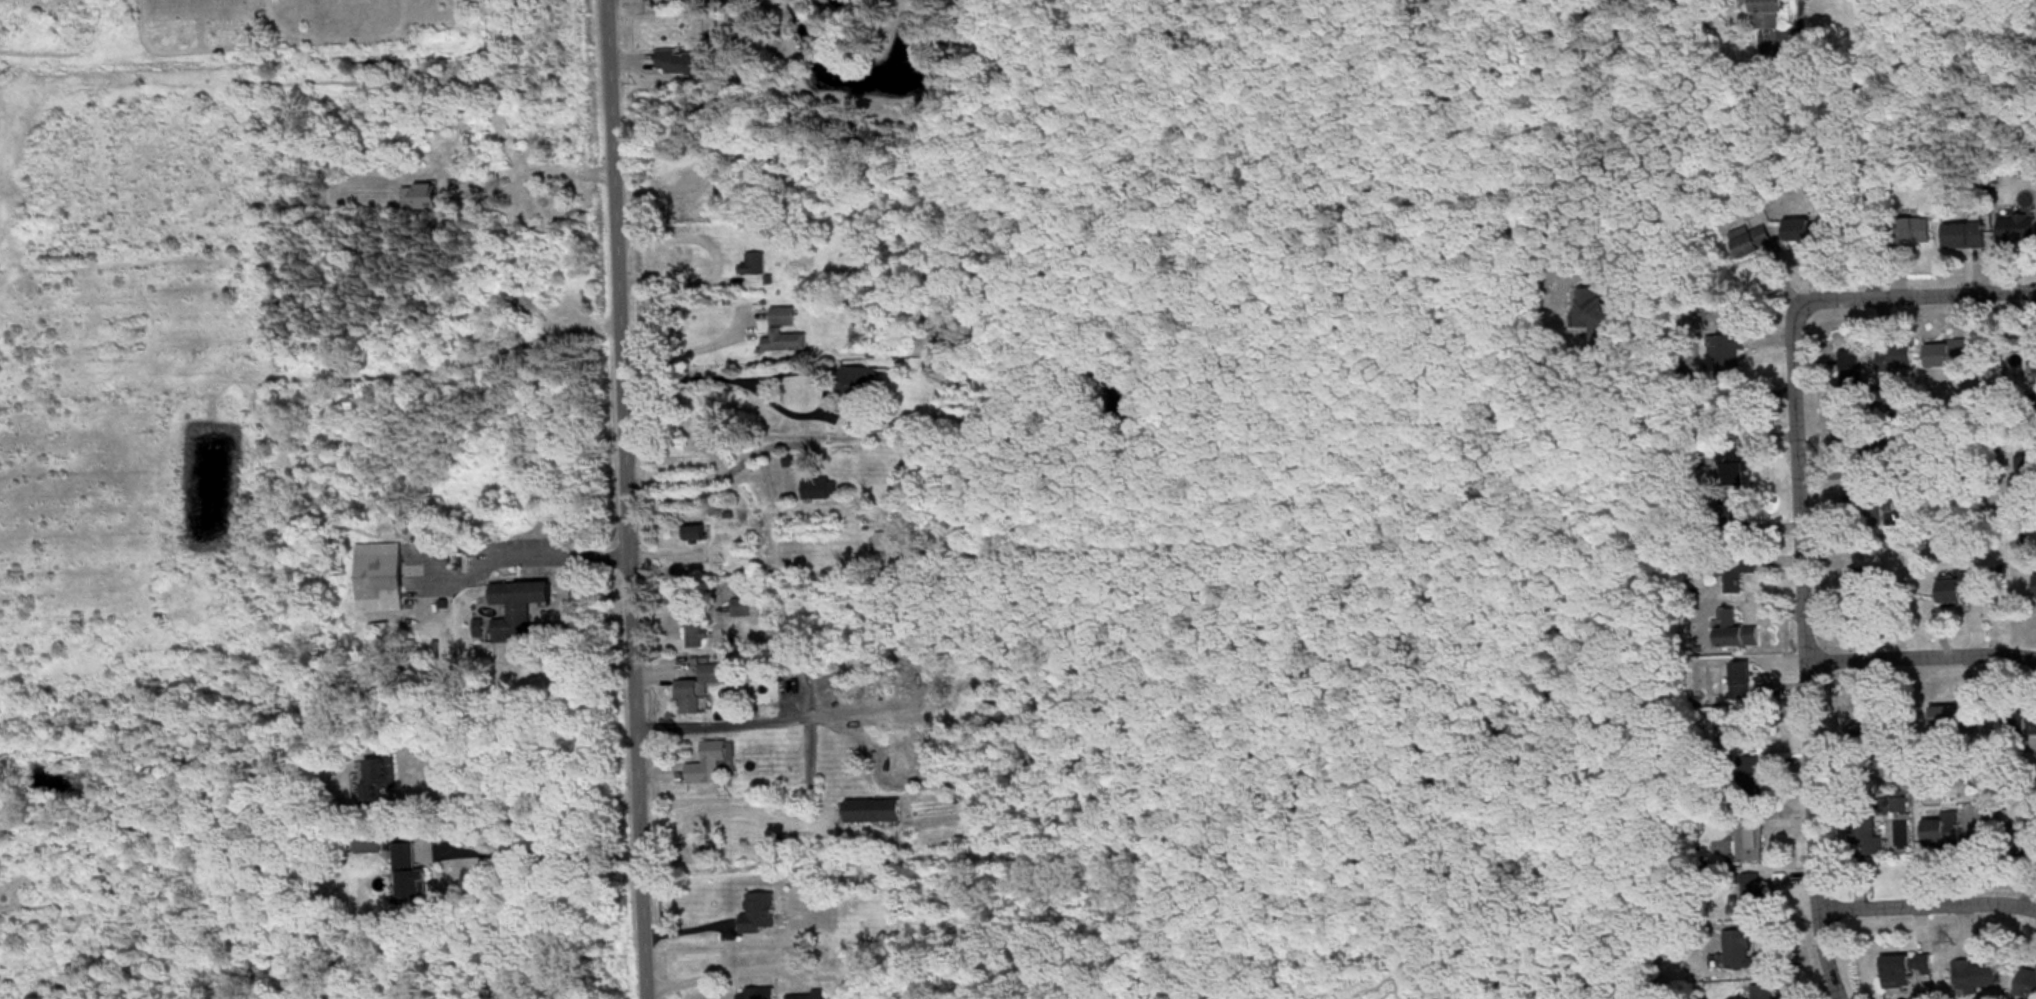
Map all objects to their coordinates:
building: (1769, 14)
building: (684, 64)
road: (532, 170)
building: (421, 198)
building: (2018, 230)
building: (1925, 234)
building: (1970, 237)
building: (1752, 242)
building: (755, 265)
road: (1917, 296)
building: (1594, 313)
building: (778, 331)
building: (1728, 354)
building: (2035, 355)
building: (1898, 360)
building: (1854, 383)
building: (859, 390)
building: (1861, 466)
building: (1735, 468)
building: (2028, 481)
building: (820, 491)
road: (623, 499)
building: (1734, 517)
building: (1906, 519)
building: (696, 535)
building: (1739, 572)
building: (381, 579)
building: (1867, 582)
building: (1964, 588)
road: (1800, 606)
building: (519, 608)
building: (742, 609)
building: (1733, 631)
building: (698, 634)
road: (1919, 657)
building: (699, 689)
building: (1948, 720)
building: (2020, 723)
building: (710, 766)
building: (381, 778)
building: (1900, 804)
building: (875, 813)
building: (1973, 827)
building: (1946, 832)
road: (539, 842)
building: (1751, 843)
building: (373, 847)
building: (411, 878)
building: (1753, 897)
road: (1924, 903)
building: (761, 916)
building: (1739, 948)
road: (1825, 953)
building: (1906, 971)
building: (1976, 977)
building: (2027, 986)
building: (1764, 992)
building: (760, 994)
building: (806, 997)

